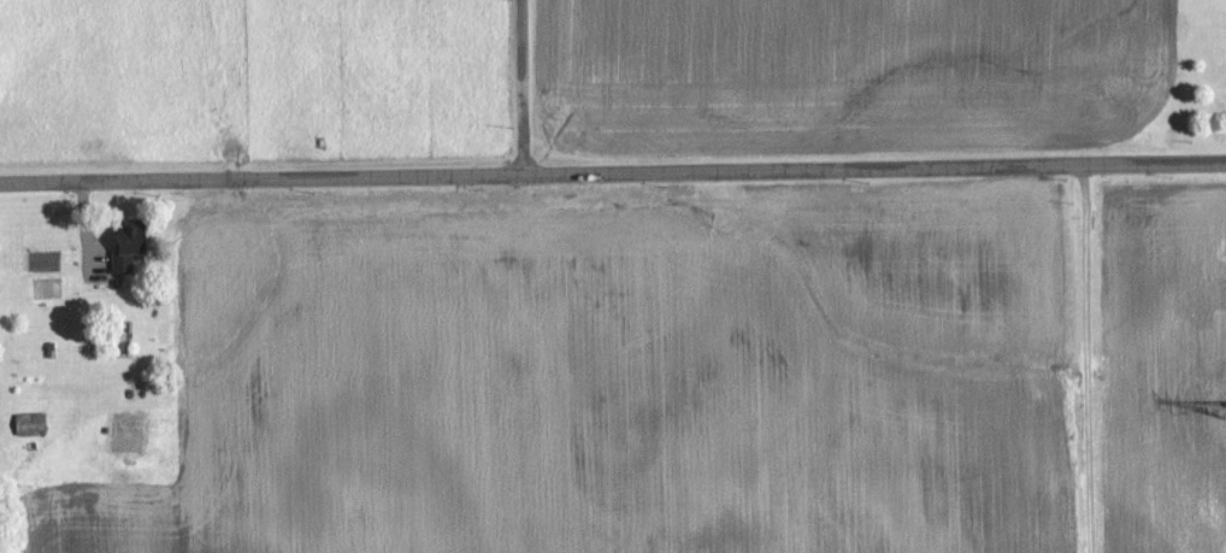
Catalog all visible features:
road: (521, 87)
road: (613, 172)
building: (126, 247)
road: (1085, 358)
building: (29, 423)

